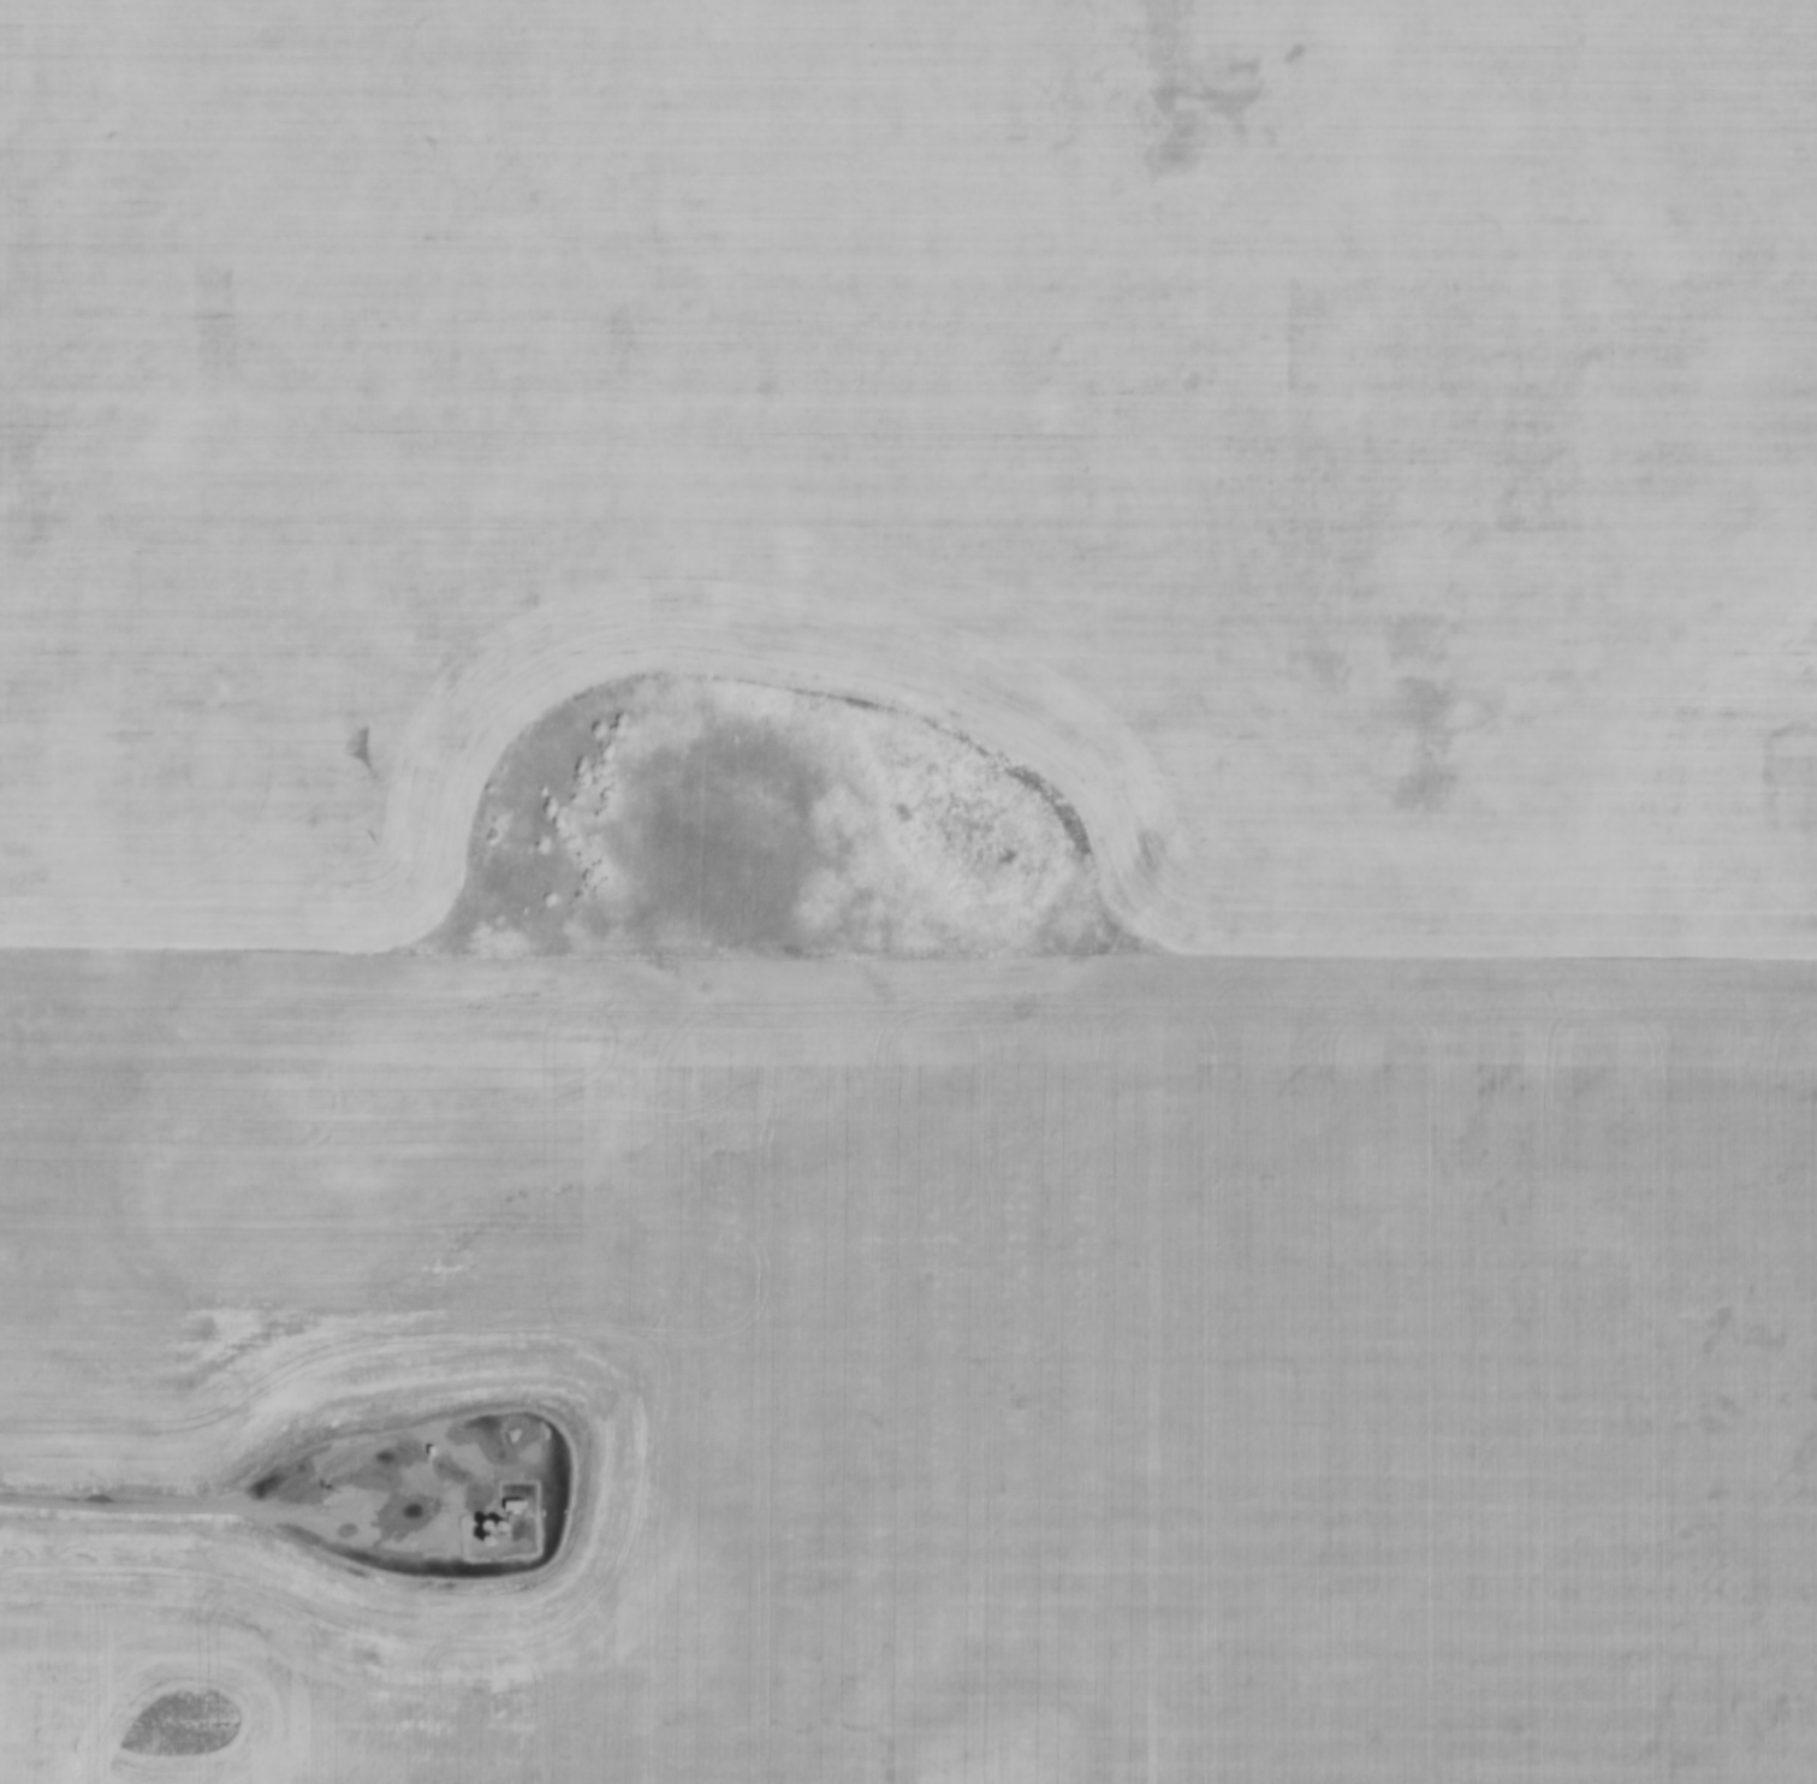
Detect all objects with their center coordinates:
road: (253, 1494)

